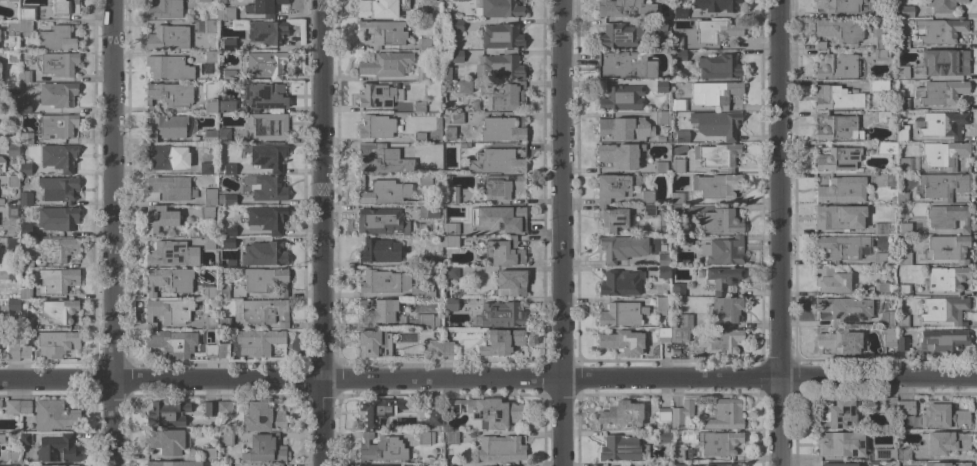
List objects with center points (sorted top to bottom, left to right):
building: (12, 0)
building: (431, 0)
building: (204, 1)
building: (221, 1)
building: (715, 5)
building: (838, 5)
building: (943, 5)
building: (65, 6)
building: (262, 8)
building: (379, 8)
building: (164, 9)
building: (499, 9)
building: (624, 9)
building: (679, 12)
building: (877, 12)
building: (906, 12)
building: (226, 13)
building: (26, 19)
building: (456, 25)
building: (659, 25)
building: (209, 26)
building: (12, 28)
building: (264, 31)
building: (716, 31)
building: (838, 31)
building: (939, 31)
building: (382, 32)
building: (2, 35)
building: (501, 36)
building: (617, 36)
building: (167, 37)
building: (58, 38)
building: (883, 39)
building: (676, 43)
building: (902, 43)
building: (228, 44)
building: (423, 44)
building: (880, 55)
building: (210, 56)
building: (456, 56)
building: (679, 56)
building: (12, 57)
building: (945, 63)
building: (59, 64)
building: (263, 64)
building: (386, 64)
building: (624, 65)
building: (838, 66)
building: (498, 67)
building: (718, 67)
building: (168, 68)
building: (902, 72)
building: (447, 73)
building: (423, 74)
building: (24, 76)
building: (229, 76)
building: (878, 85)
building: (461, 86)
building: (661, 86)
building: (12, 88)
building: (943, 92)
building: (714, 93)
building: (57, 95)
building: (169, 95)
building: (264, 95)
building: (378, 95)
building: (503, 96)
building: (209, 97)
building: (835, 97)
building: (620, 98)
building: (902, 104)
building: (474, 105)
building: (678, 105)
building: (24, 106)
building: (418, 106)
building: (226, 107)
building: (900, 113)
building: (880, 116)
building: (456, 117)
building: (660, 118)
building: (12, 119)
building: (716, 124)
building: (943, 124)
building: (57, 126)
building: (267, 126)
building: (165, 127)
building: (376, 127)
building: (502, 128)
building: (838, 128)
building: (624, 129)
building: (902, 133)
building: (449, 134)
building: (223, 135)
building: (680, 136)
building: (210, 137)
building: (419, 137)
building: (25, 138)
building: (660, 139)
building: (463, 145)
building: (885, 148)
building: (11, 150)
building: (944, 154)
building: (619, 155)
building: (717, 155)
building: (267, 156)
building: (58, 157)
building: (161, 157)
building: (837, 159)
building: (498, 160)
building: (384, 161)
building: (2, 164)
building: (903, 164)
building: (677, 166)
building: (660, 167)
building: (206, 168)
building: (25, 169)
building: (228, 169)
building: (424, 179)
building: (890, 180)
building: (12, 181)
building: (943, 185)
building: (502, 186)
building: (716, 186)
building: (265, 187)
building: (612, 187)
building: (168, 188)
building: (58, 189)
road: (325, 189)
building: (841, 189)
road: (109, 190)
road: (559, 190)
road: (780, 190)
building: (382, 191)
building: (451, 195)
building: (647, 196)
building: (209, 197)
building: (902, 197)
building: (25, 198)
building: (676, 198)
building: (226, 200)
building: (893, 200)
building: (1, 201)
building: (648, 210)
building: (12, 211)
building: (207, 212)
building: (433, 212)
building: (838, 217)
building: (947, 217)
building: (57, 218)
building: (159, 218)
building: (503, 218)
building: (612, 218)
building: (266, 219)
building: (721, 221)
building: (381, 222)
building: (449, 228)
building: (883, 228)
building: (904, 228)
building: (25, 229)
building: (229, 230)
building: (684, 240)
building: (450, 241)
building: (227, 242)
building: (208, 243)
building: (12, 244)
building: (842, 247)
building: (622, 248)
building: (947, 248)
building: (57, 249)
building: (723, 250)
building: (379, 251)
building: (504, 253)
building: (172, 254)
building: (263, 254)
building: (879, 258)
building: (908, 259)
building: (663, 260)
building: (428, 261)
building: (26, 262)
building: (901, 271)
building: (452, 272)
building: (663, 272)
building: (12, 273)
building: (721, 278)
building: (946, 278)
building: (57, 280)
building: (169, 280)
building: (265, 280)
building: (831, 280)
building: (383, 281)
building: (511, 283)
building: (620, 283)
building: (882, 289)
building: (677, 290)
building: (904, 290)
building: (223, 291)
building: (210, 292)
building: (421, 292)
building: (25, 293)
building: (661, 303)
building: (12, 304)
building: (450, 304)
building: (724, 309)
building: (844, 309)
building: (940, 309)
building: (377, 310)
building: (59, 311)
building: (168, 311)
building: (261, 311)
building: (501, 314)
building: (619, 314)
building: (887, 318)
building: (423, 320)
building: (685, 320)
building: (902, 321)
building: (210, 322)
building: (26, 323)
building: (224, 323)
building: (963, 323)
building: (663, 334)
building: (679, 335)
building: (888, 336)
building: (501, 341)
building: (719, 341)
building: (840, 341)
building: (942, 341)
building: (258, 342)
building: (623, 342)
building: (56, 343)
building: (172, 343)
building: (373, 343)
building: (902, 344)
building: (429, 346)
building: (446, 347)
building: (13, 350)
building: (223, 350)
building: (210, 351)
building: (24, 352)
road: (488, 380)
building: (0, 404)
building: (889, 404)
building: (12, 407)
building: (25, 407)
building: (225, 407)
building: (210, 409)
building: (904, 410)
building: (378, 411)
building: (487, 411)
building: (166, 414)
building: (622, 414)
building: (663, 414)
building: (837, 414)
building: (944, 414)
building: (681, 415)
building: (725, 415)
building: (54, 416)
building: (262, 416)
building: (432, 419)
road: (326, 422)
road: (110, 423)
road: (559, 423)
road: (781, 423)
building: (663, 436)
building: (2, 438)
building: (25, 438)
building: (226, 438)
building: (425, 438)
building: (451, 438)
building: (166, 441)
building: (946, 442)
building: (718, 443)
building: (840, 444)
building: (381, 448)
building: (500, 448)
building: (57, 449)
building: (264, 449)
building: (622, 449)
building: (208, 453)
building: (677, 453)
building: (691, 453)
building: (884, 454)
building: (903, 455)
building: (12, 457)
building: (173, 463)
building: (873, 463)
building: (223, 464)
building: (278, 464)
building: (425, 464)
building: (450, 464)
building: (464, 464)
building: (624, 464)
building: (662, 464)
building: (947, 464)
building: (64, 465)
building: (682, 465)
building: (723, 465)
building: (838, 465)

